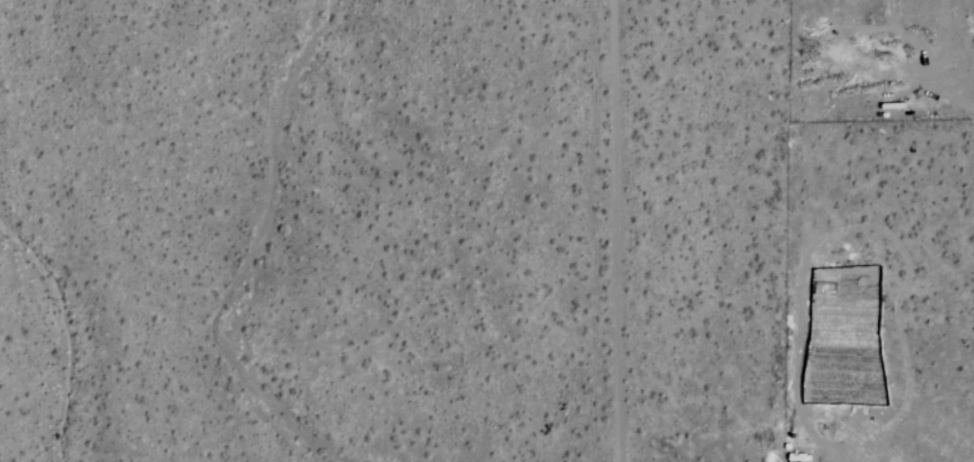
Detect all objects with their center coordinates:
road: (614, 231)

